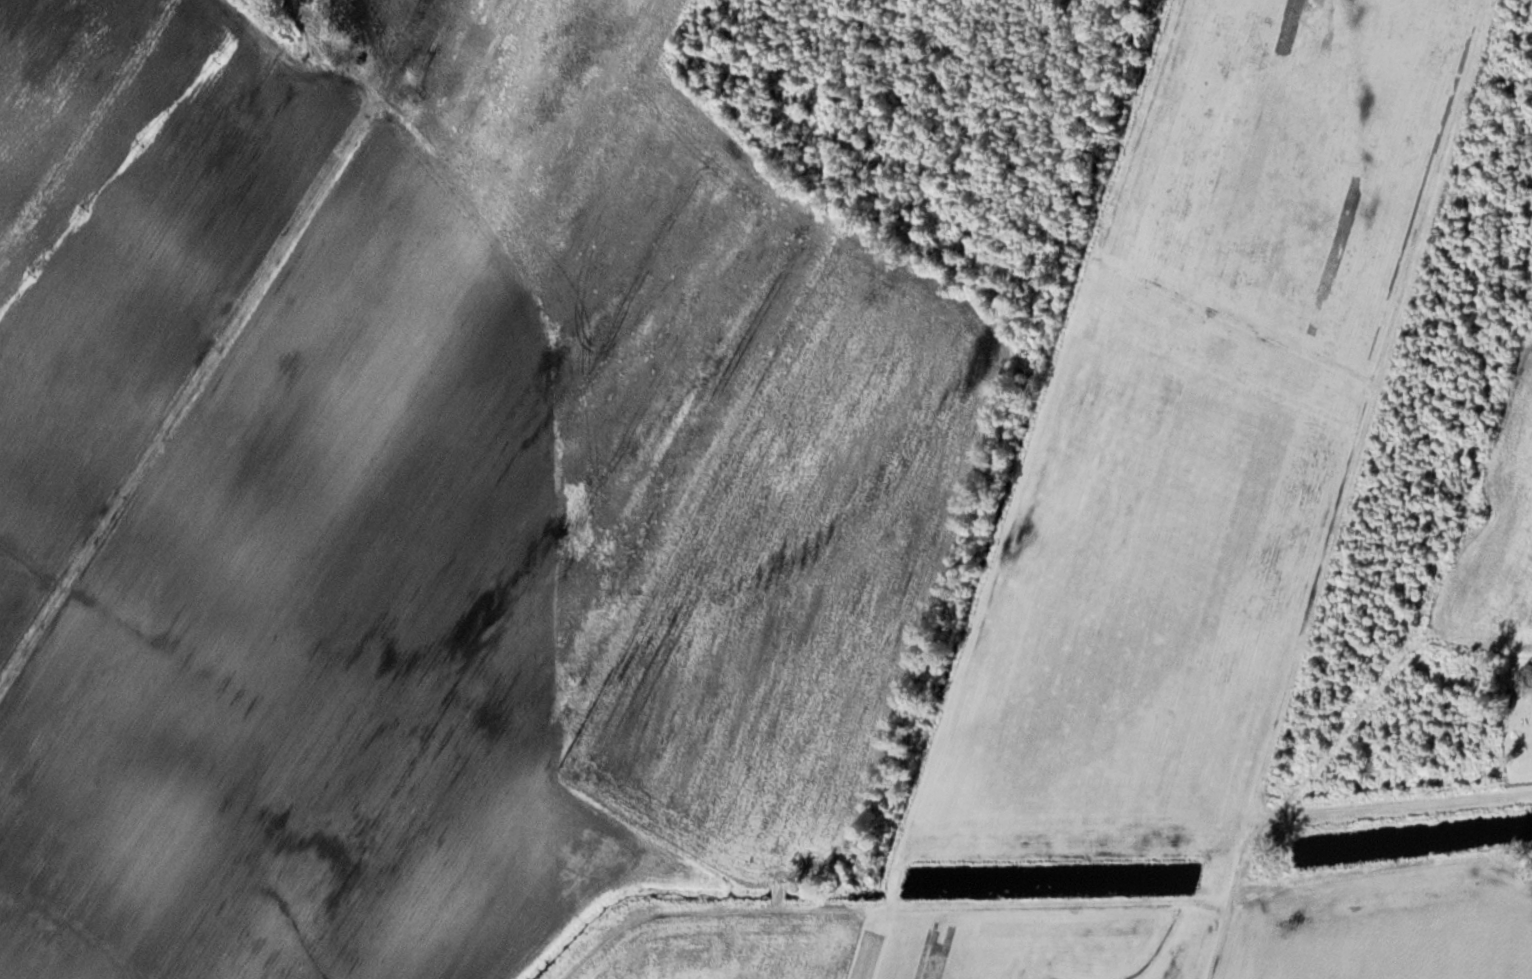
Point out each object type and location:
building: (1527, 669)

